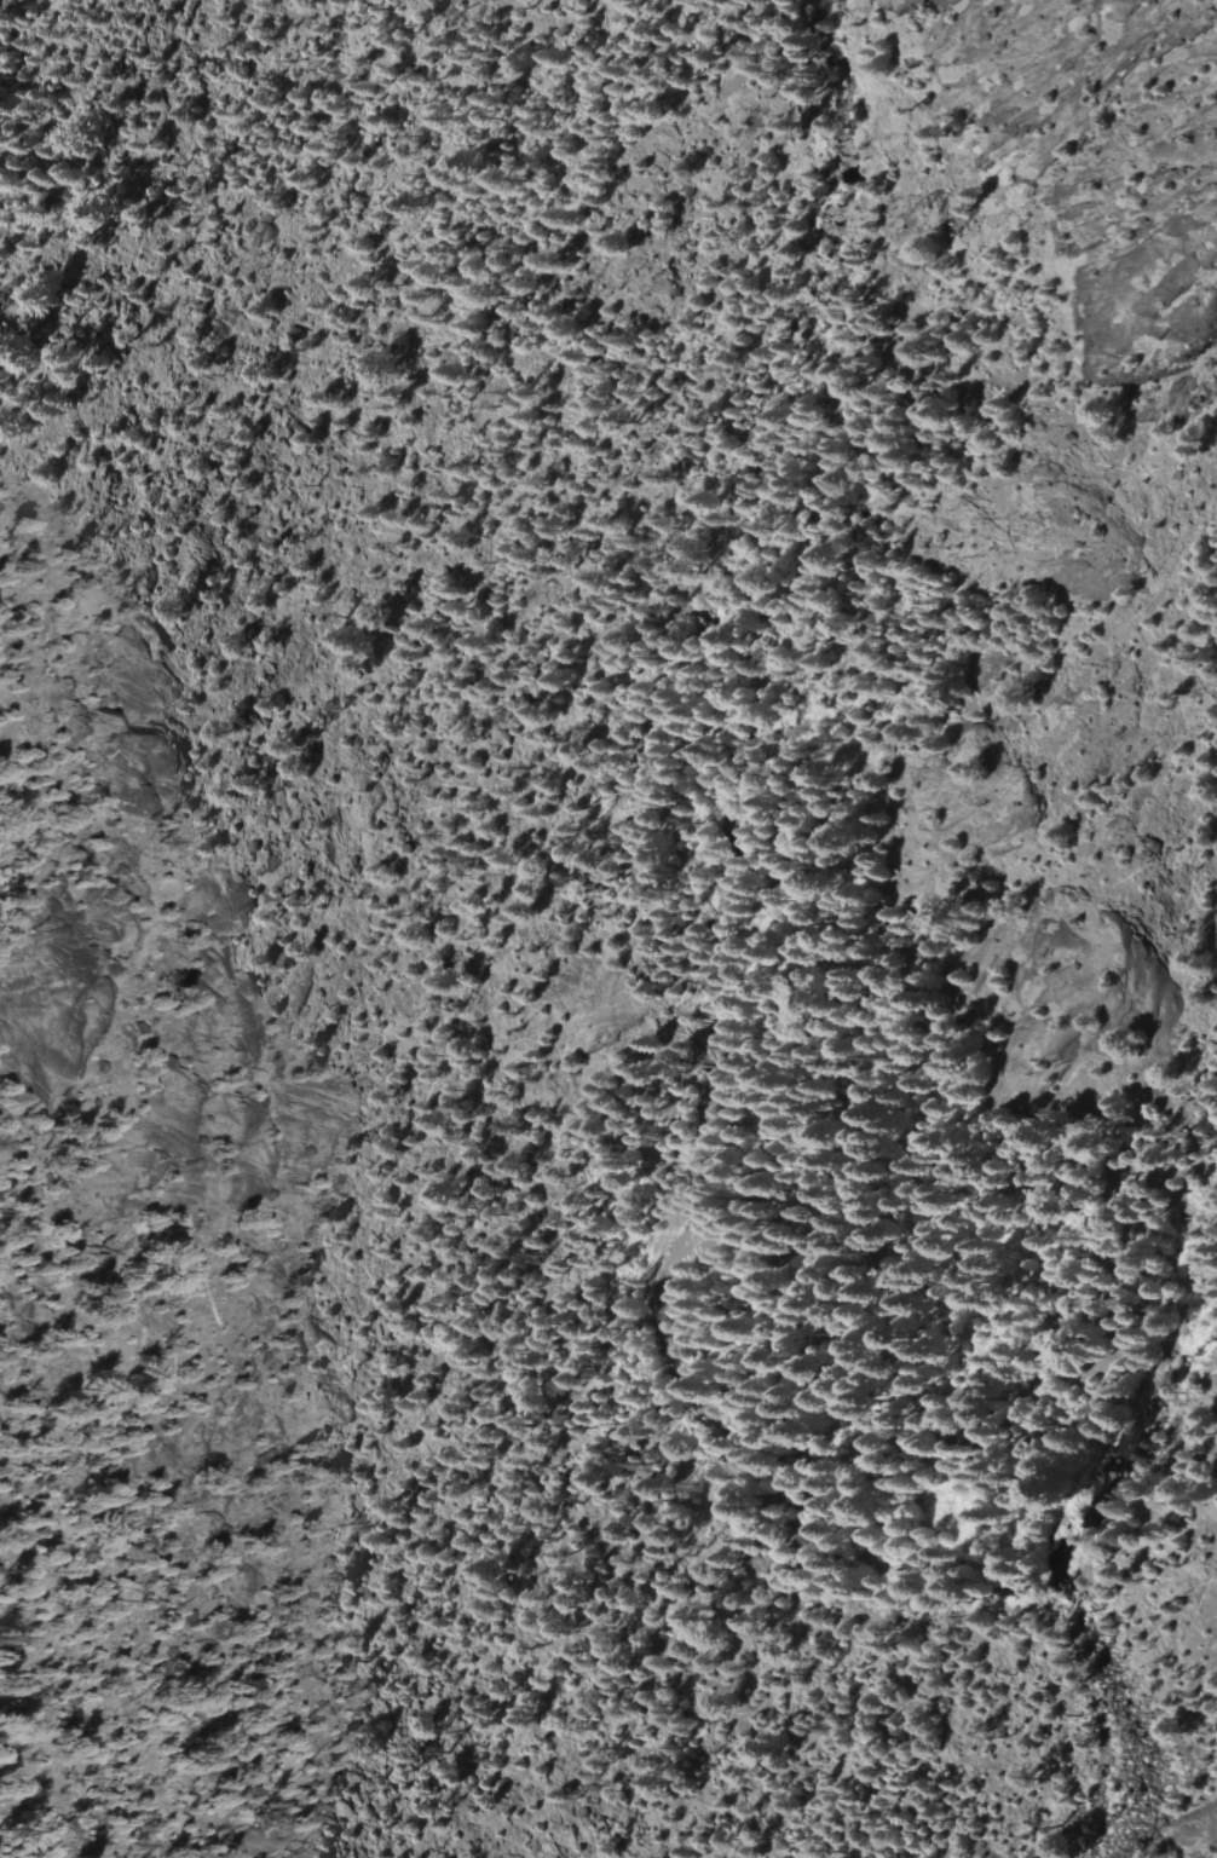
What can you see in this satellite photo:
river: (1073, 1587)

